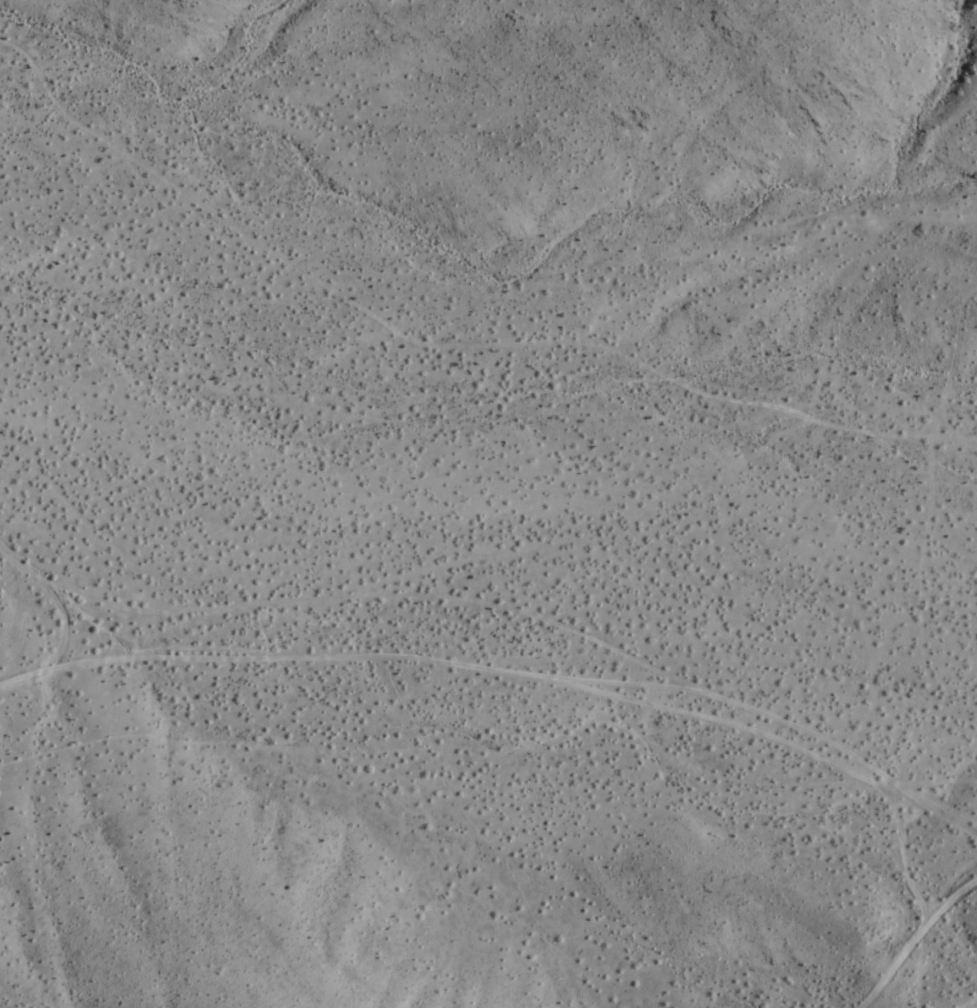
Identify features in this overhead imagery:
road: (919, 943)

